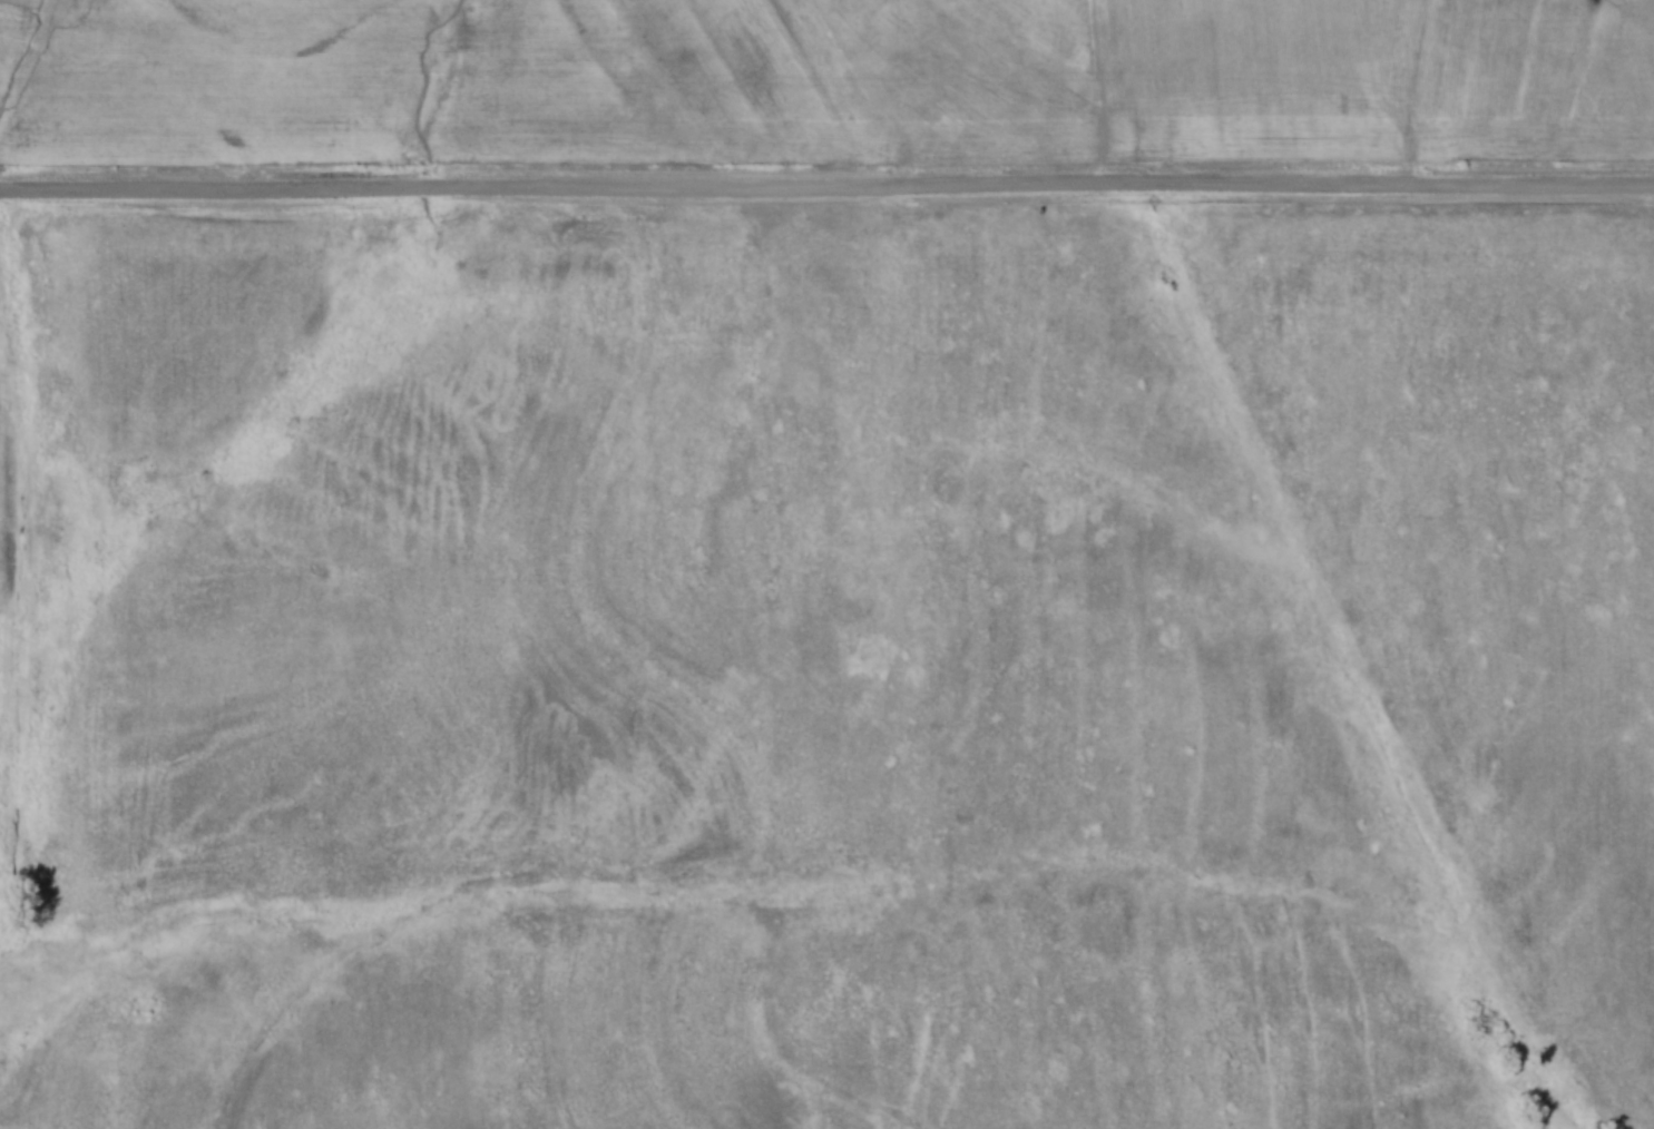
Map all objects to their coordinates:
road: (826, 188)

